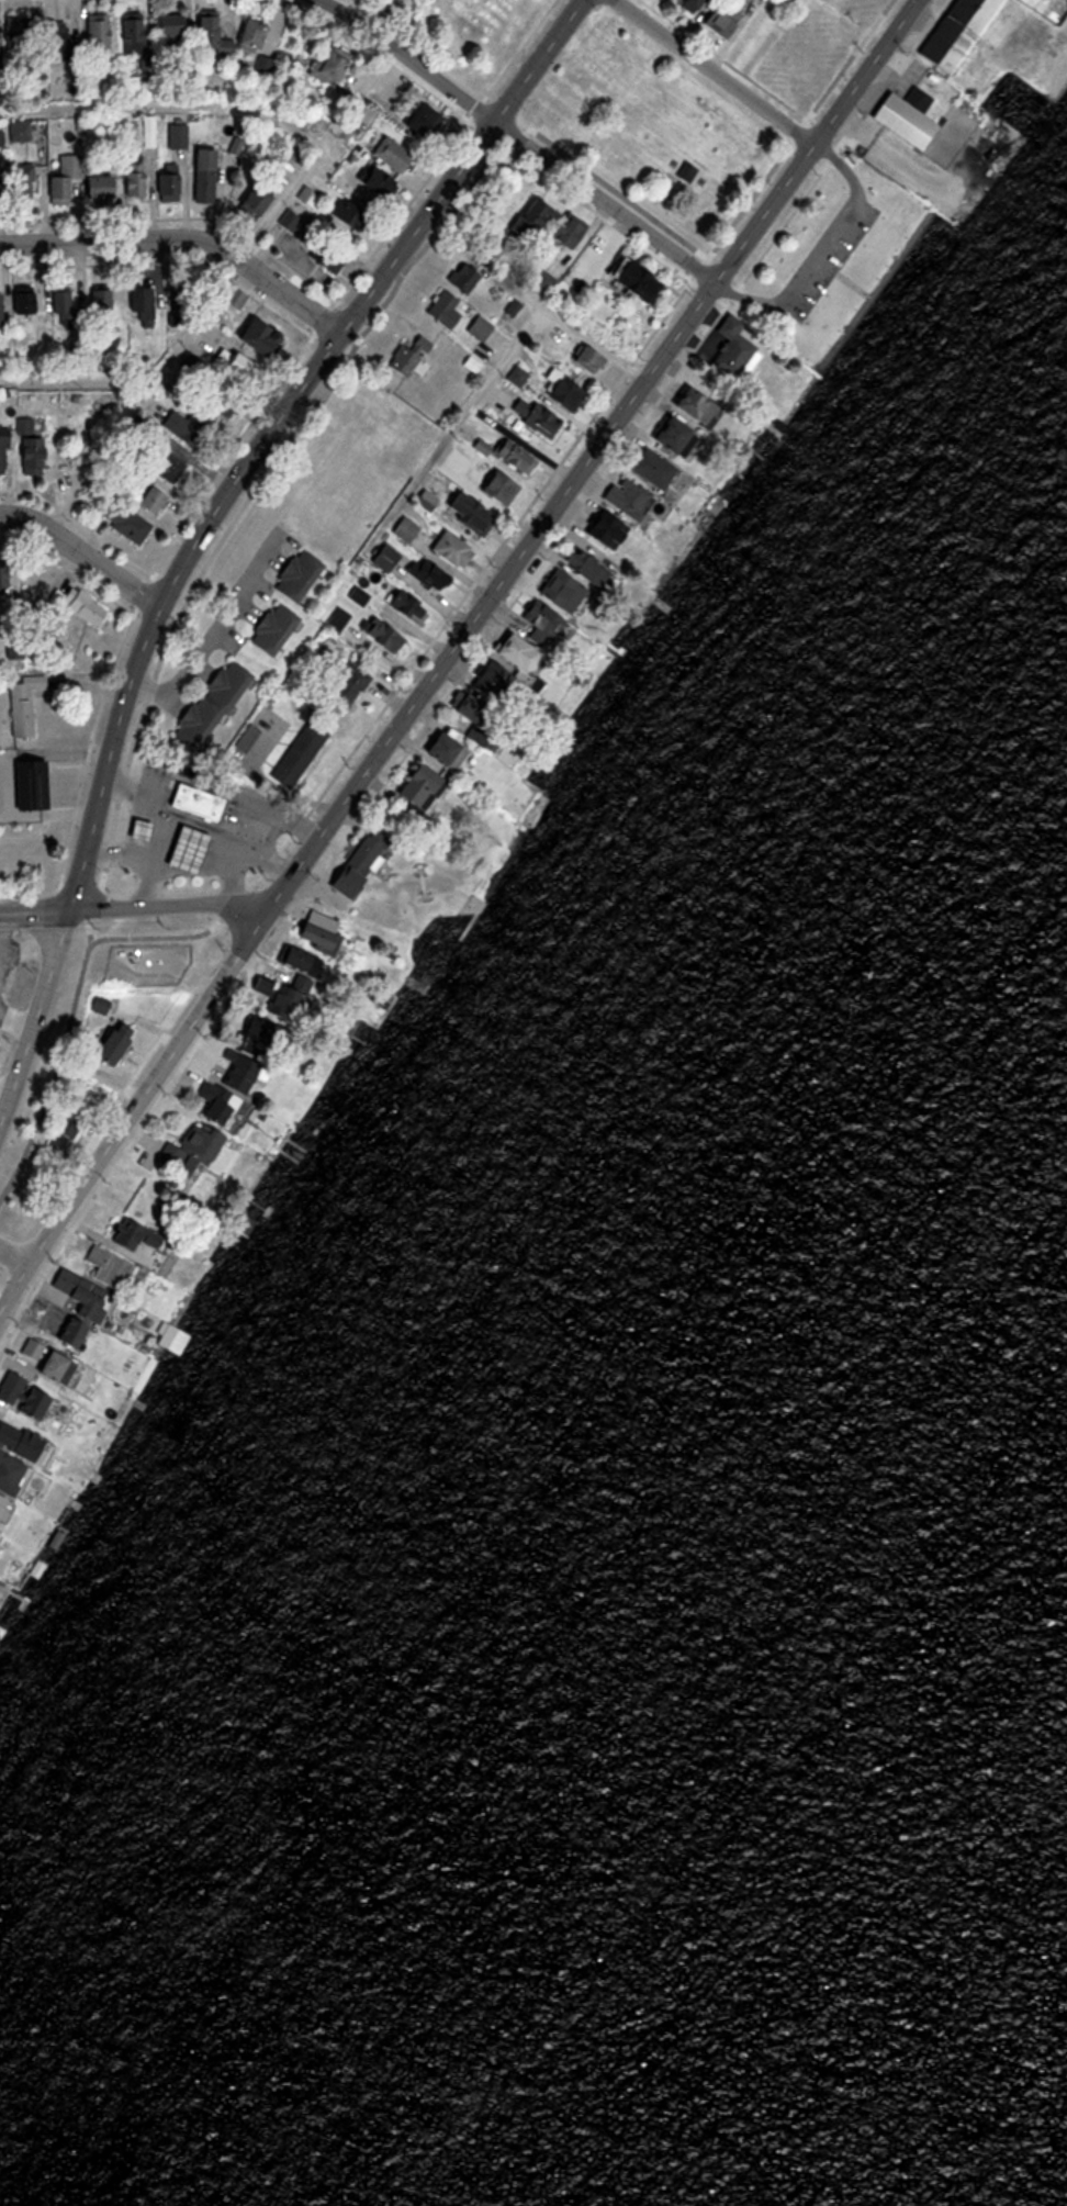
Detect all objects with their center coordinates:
building: (718, 18)
building: (166, 27)
building: (94, 31)
building: (128, 31)
building: (202, 31)
building: (14, 36)
building: (245, 36)
building: (53, 37)
building: (324, 64)
building: (259, 65)
road: (714, 71)
building: (406, 112)
building: (172, 136)
road: (518, 139)
road: (815, 141)
road: (315, 153)
building: (386, 154)
park: (676, 156)
building: (198, 176)
building: (130, 180)
building: (75, 181)
building: (368, 182)
building: (19, 183)
building: (165, 186)
building: (247, 201)
building: (344, 216)
building: (520, 221)
building: (562, 232)
road: (183, 242)
building: (313, 246)
road: (817, 248)
road: (415, 256)
parking lot: (828, 261)
road: (839, 277)
building: (626, 279)
building: (458, 280)
road: (871, 290)
building: (176, 299)
building: (133, 300)
building: (19, 301)
building: (60, 310)
building: (441, 313)
building: (100, 315)
building: (475, 329)
building: (243, 336)
building: (583, 359)
building: (559, 394)
building: (212, 402)
building: (535, 419)
building: (181, 427)
road: (276, 427)
building: (1, 451)
building: (26, 456)
building: (508, 458)
building: (642, 469)
building: (488, 486)
building: (619, 497)
building: (149, 501)
building: (465, 514)
building: (121, 522)
building: (447, 550)
road: (83, 553)
building: (405, 570)
building: (292, 576)
building: (7, 580)
road: (494, 594)
building: (79, 606)
building: (403, 608)
building: (267, 629)
building: (377, 635)
building: (506, 653)
building: (345, 683)
building: (29, 704)
building: (206, 705)
building: (295, 753)
building: (37, 785)
building: (193, 802)
building: (136, 830)
building: (183, 850)
road: (97, 904)
road: (171, 906)
road: (35, 909)
road: (89, 931)
road: (168, 936)
road: (37, 1017)
building: (109, 1042)
road: (54, 1074)
road: (150, 1085)
road: (14, 1257)
road: (14, 1289)
river: (746, 1738)

